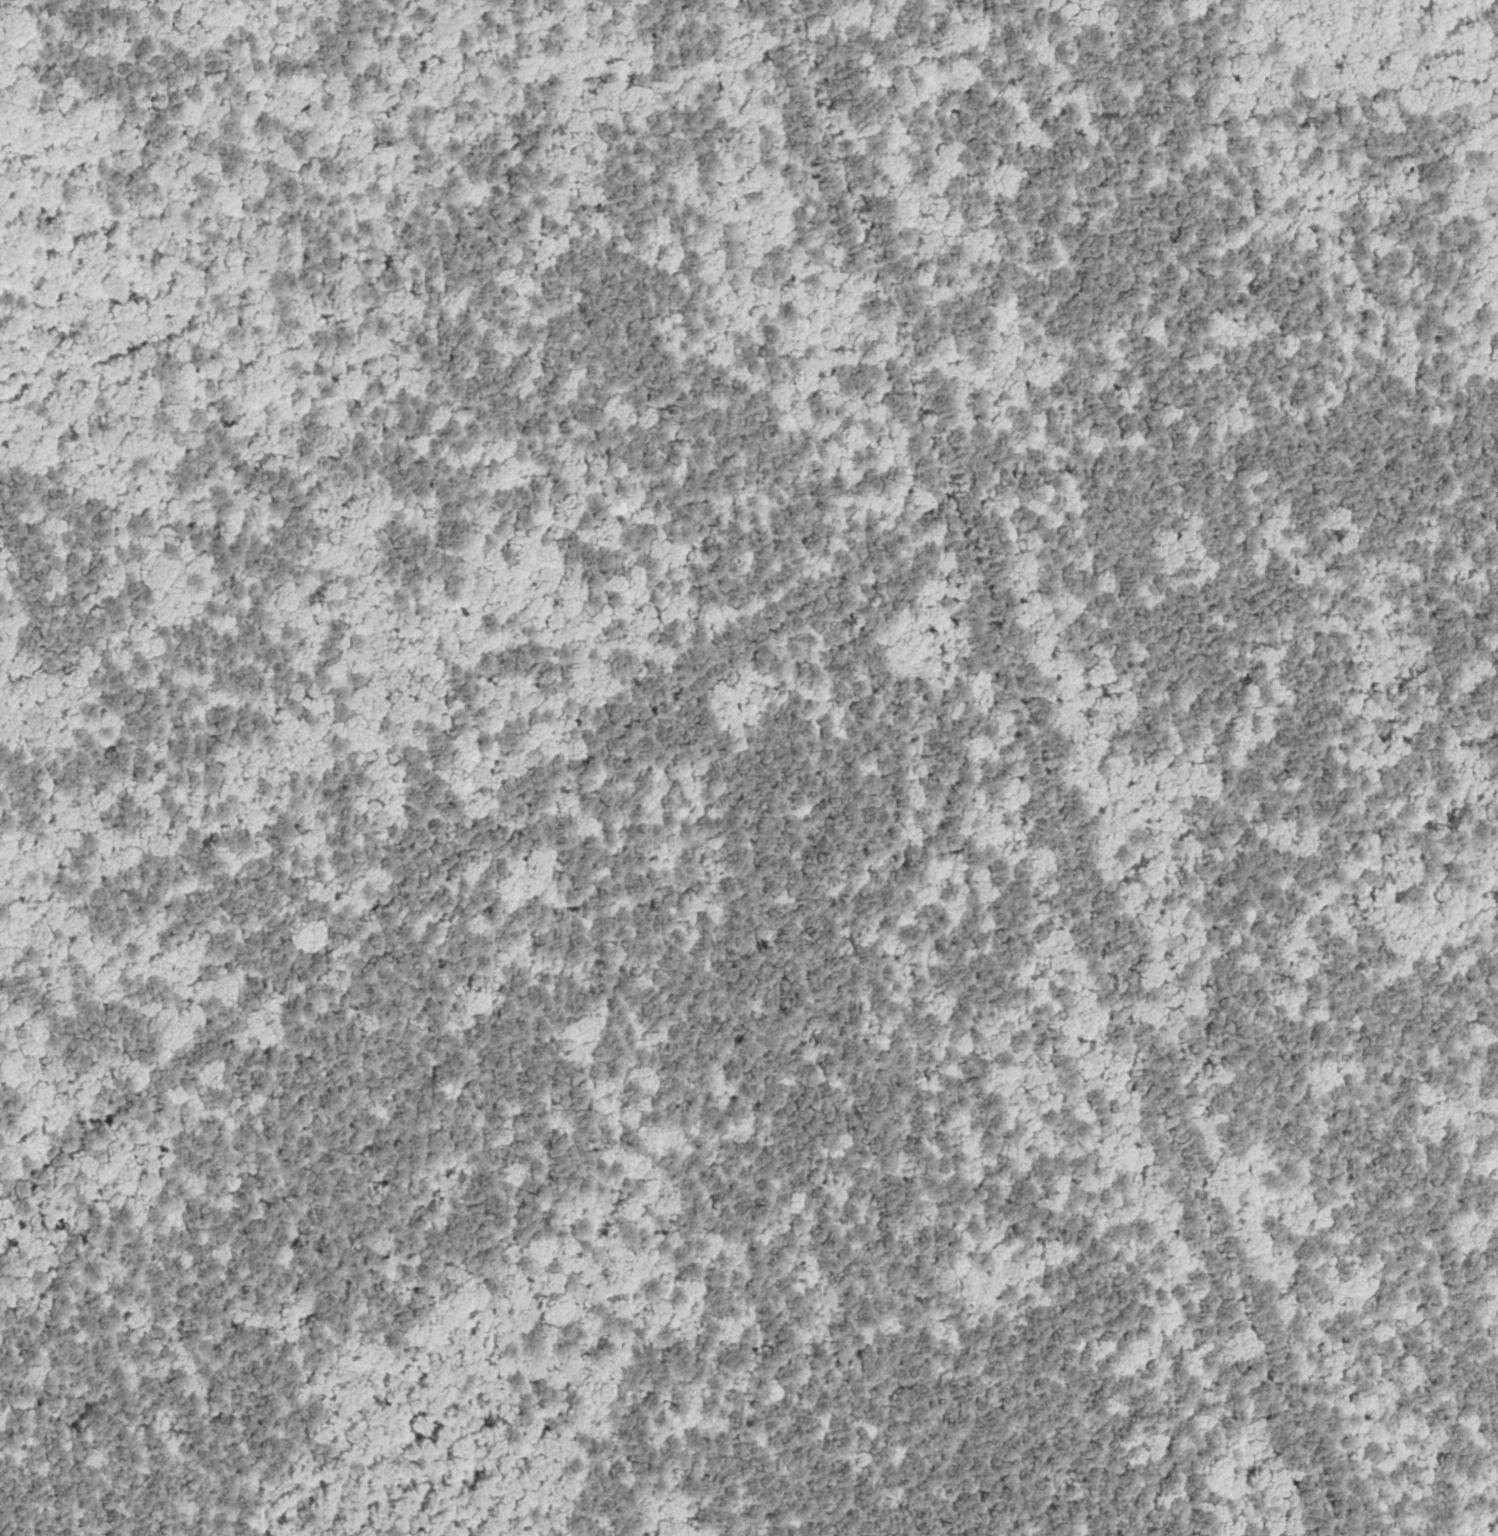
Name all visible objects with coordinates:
road: (16, 37)
road: (894, 256)
road: (916, 534)
park: (749, 768)

